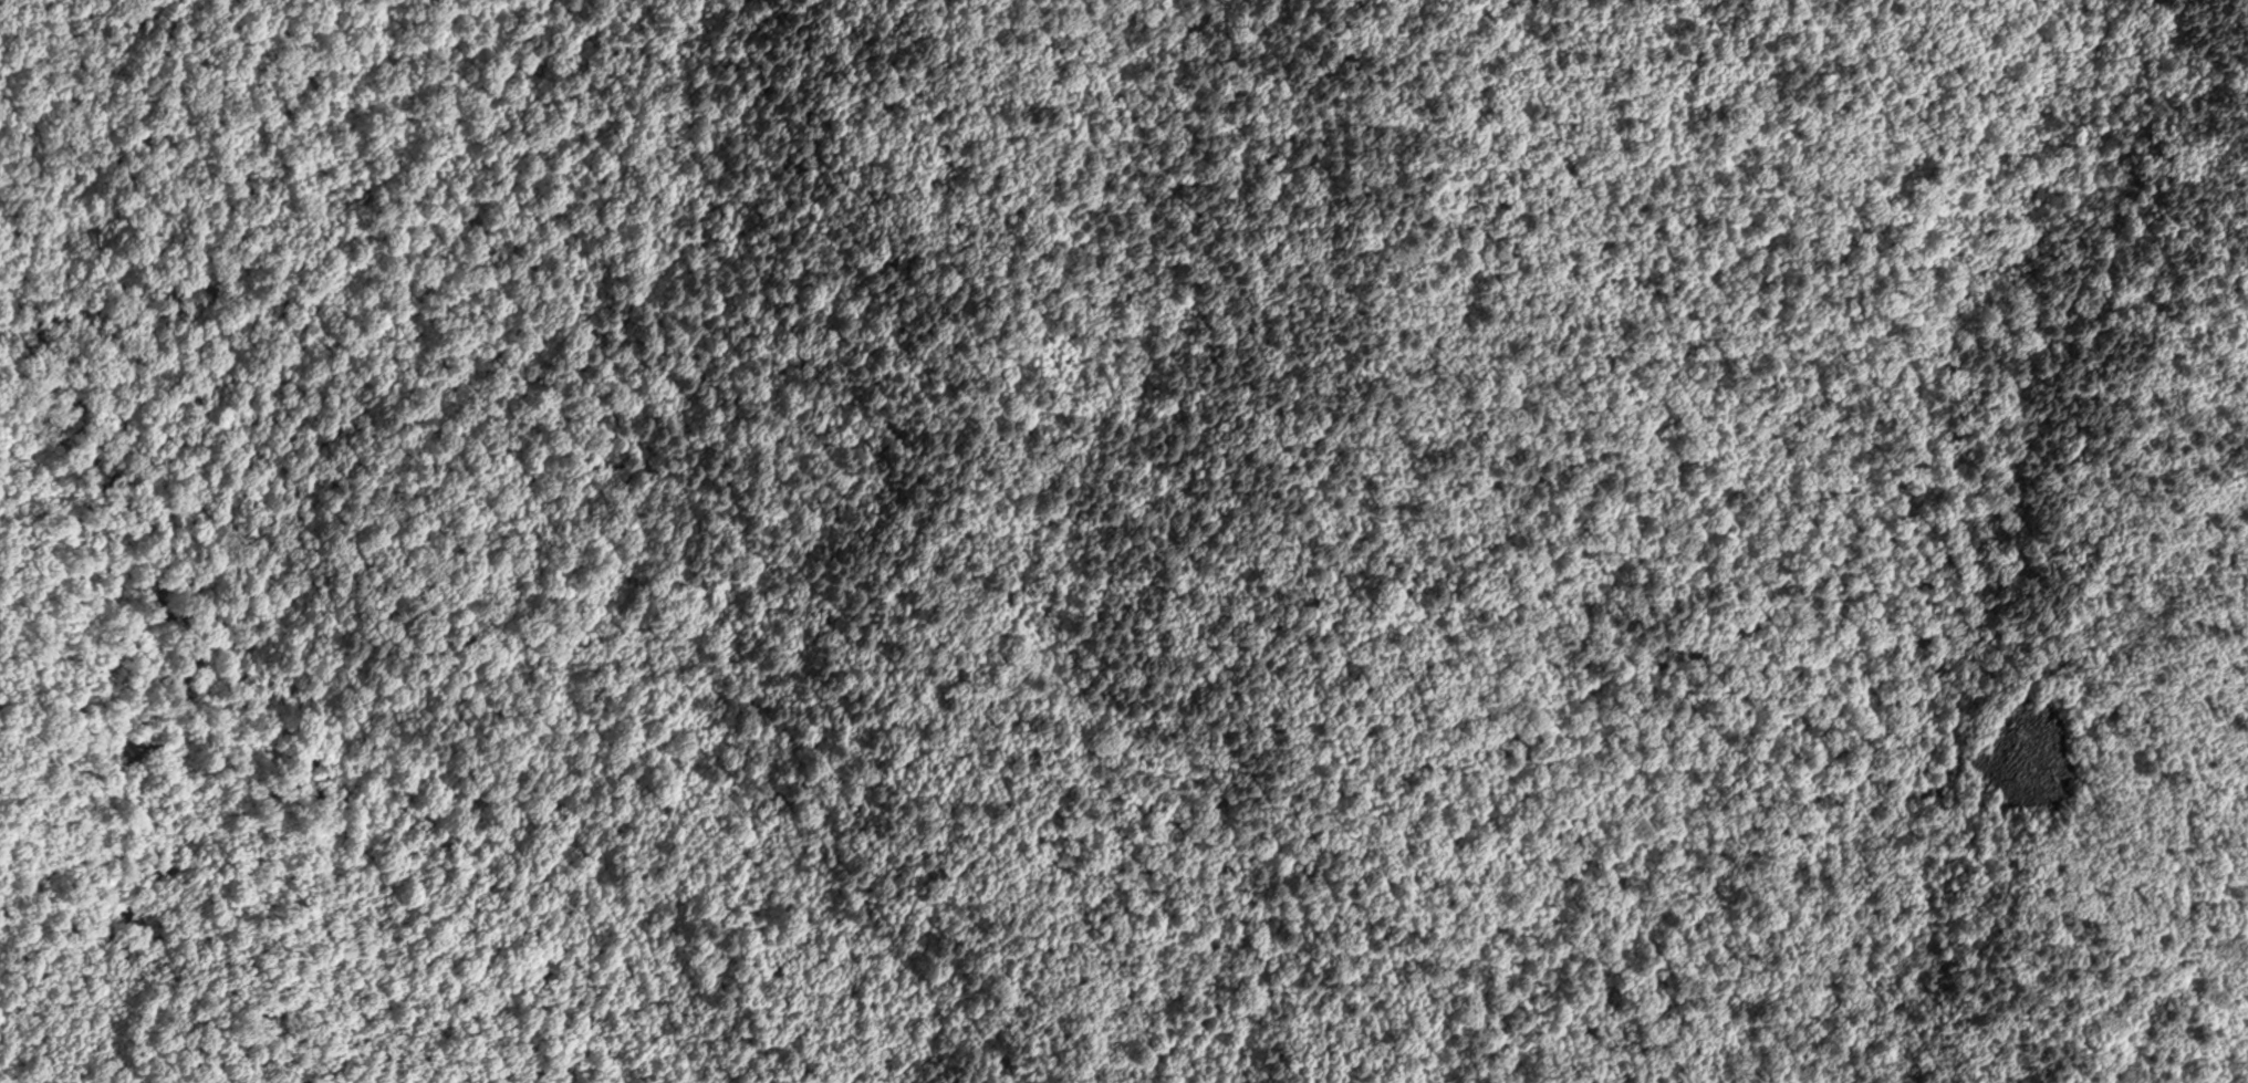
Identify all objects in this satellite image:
road: (1009, 582)

